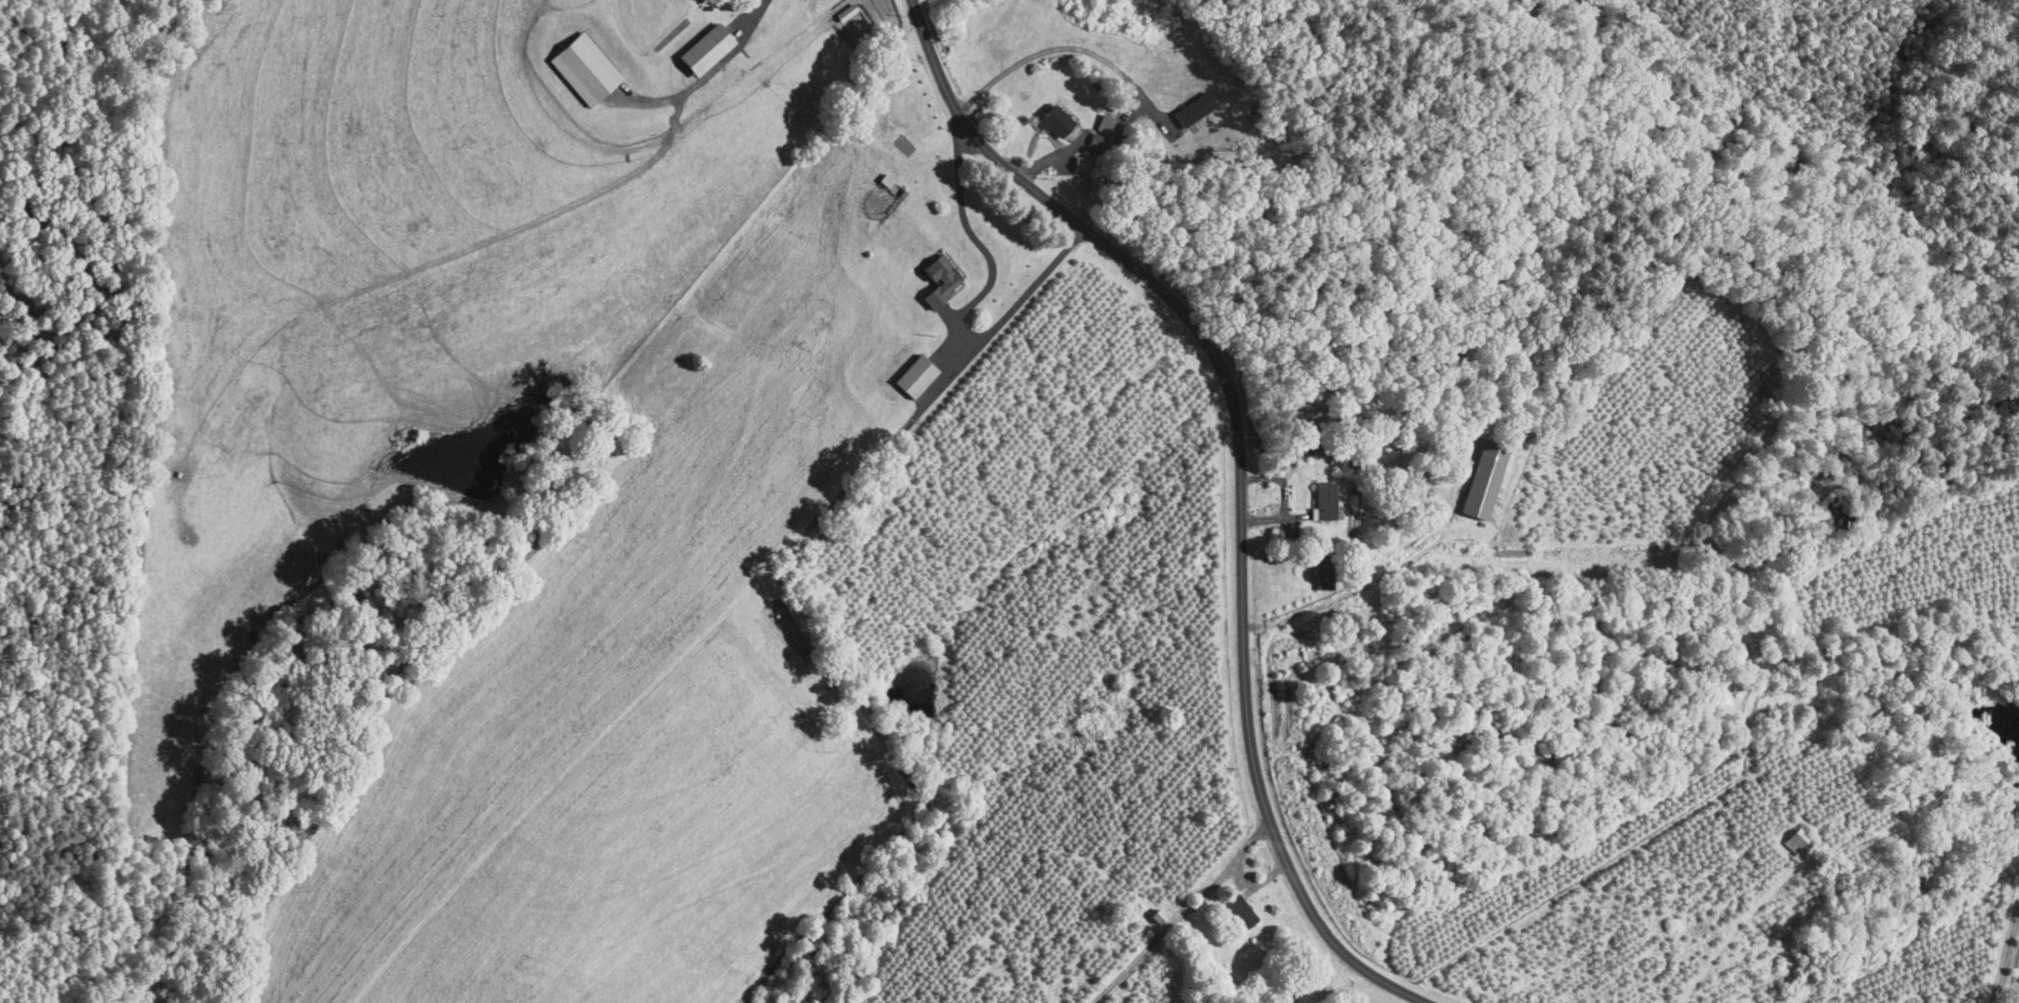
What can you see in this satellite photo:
building: (831, 6)
building: (690, 42)
building: (569, 60)
road: (706, 74)
building: (1179, 102)
building: (1039, 113)
building: (1091, 116)
building: (871, 172)
building: (924, 273)
road: (969, 304)
building: (900, 369)
building: (1470, 474)
road: (1239, 475)
building: (1310, 494)
building: (1783, 834)
building: (1225, 904)
road: (1182, 913)
road: (2005, 950)

